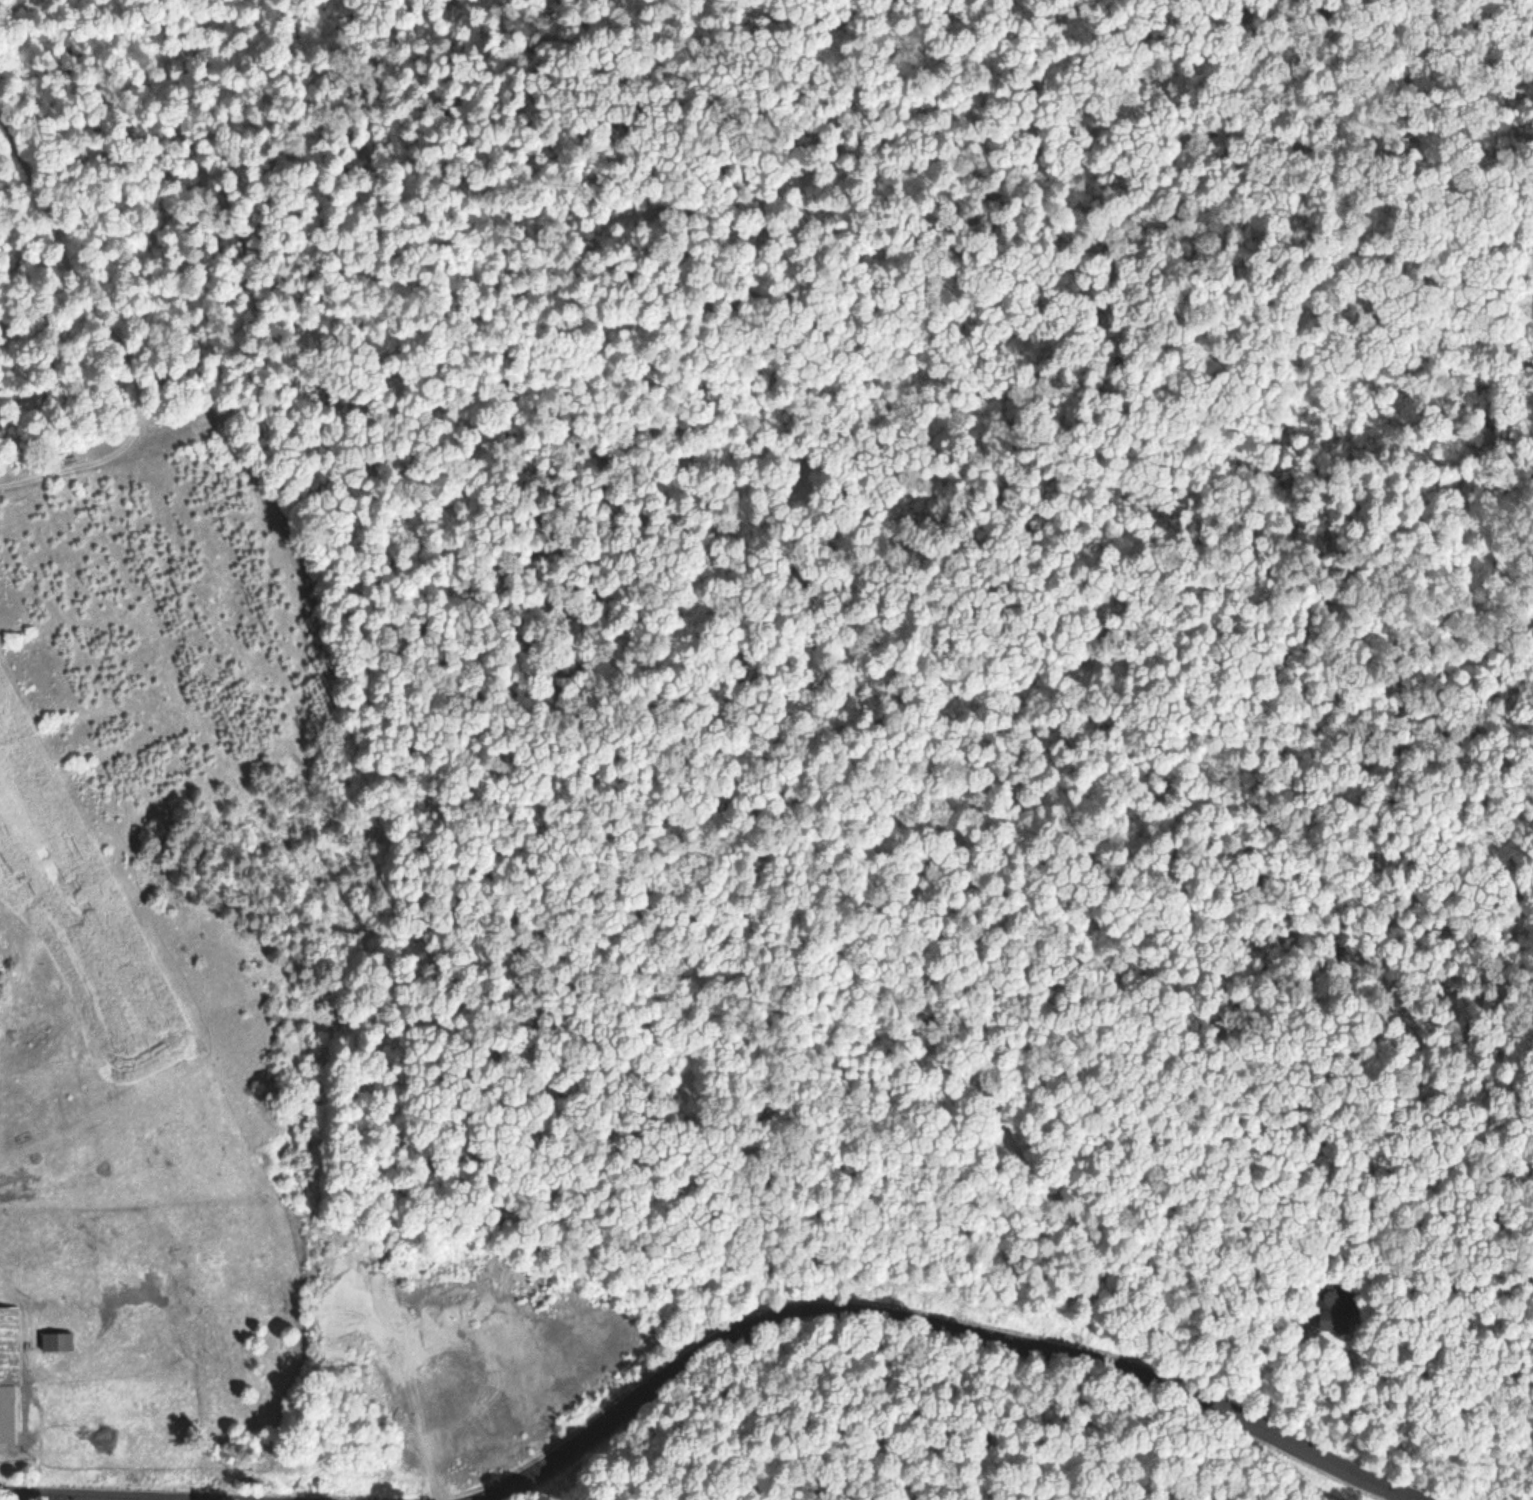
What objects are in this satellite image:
building: (1332, 1311)
road: (943, 1334)
building: (56, 1343)
building: (8, 1371)
road: (28, 1498)

